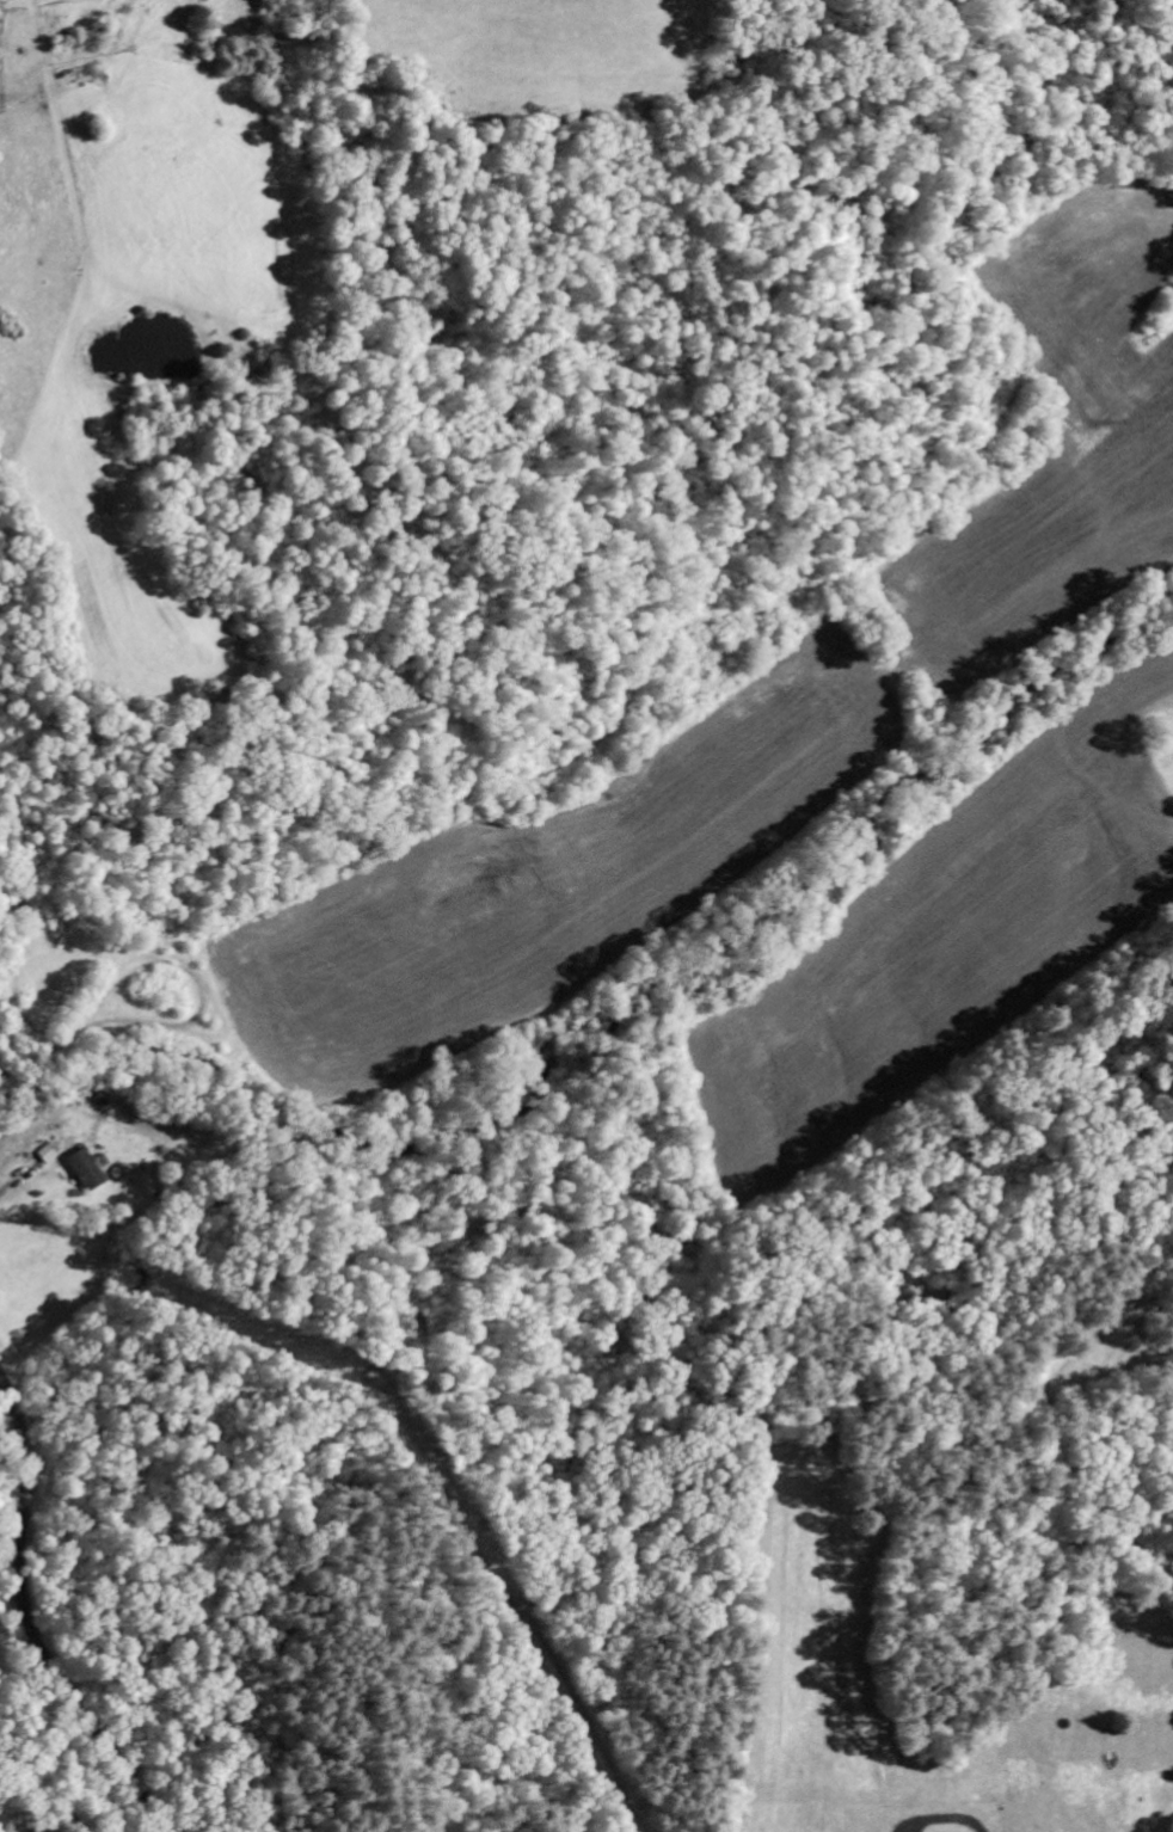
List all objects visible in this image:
building: (47, 1154)
building: (87, 1169)
road: (31, 1633)

